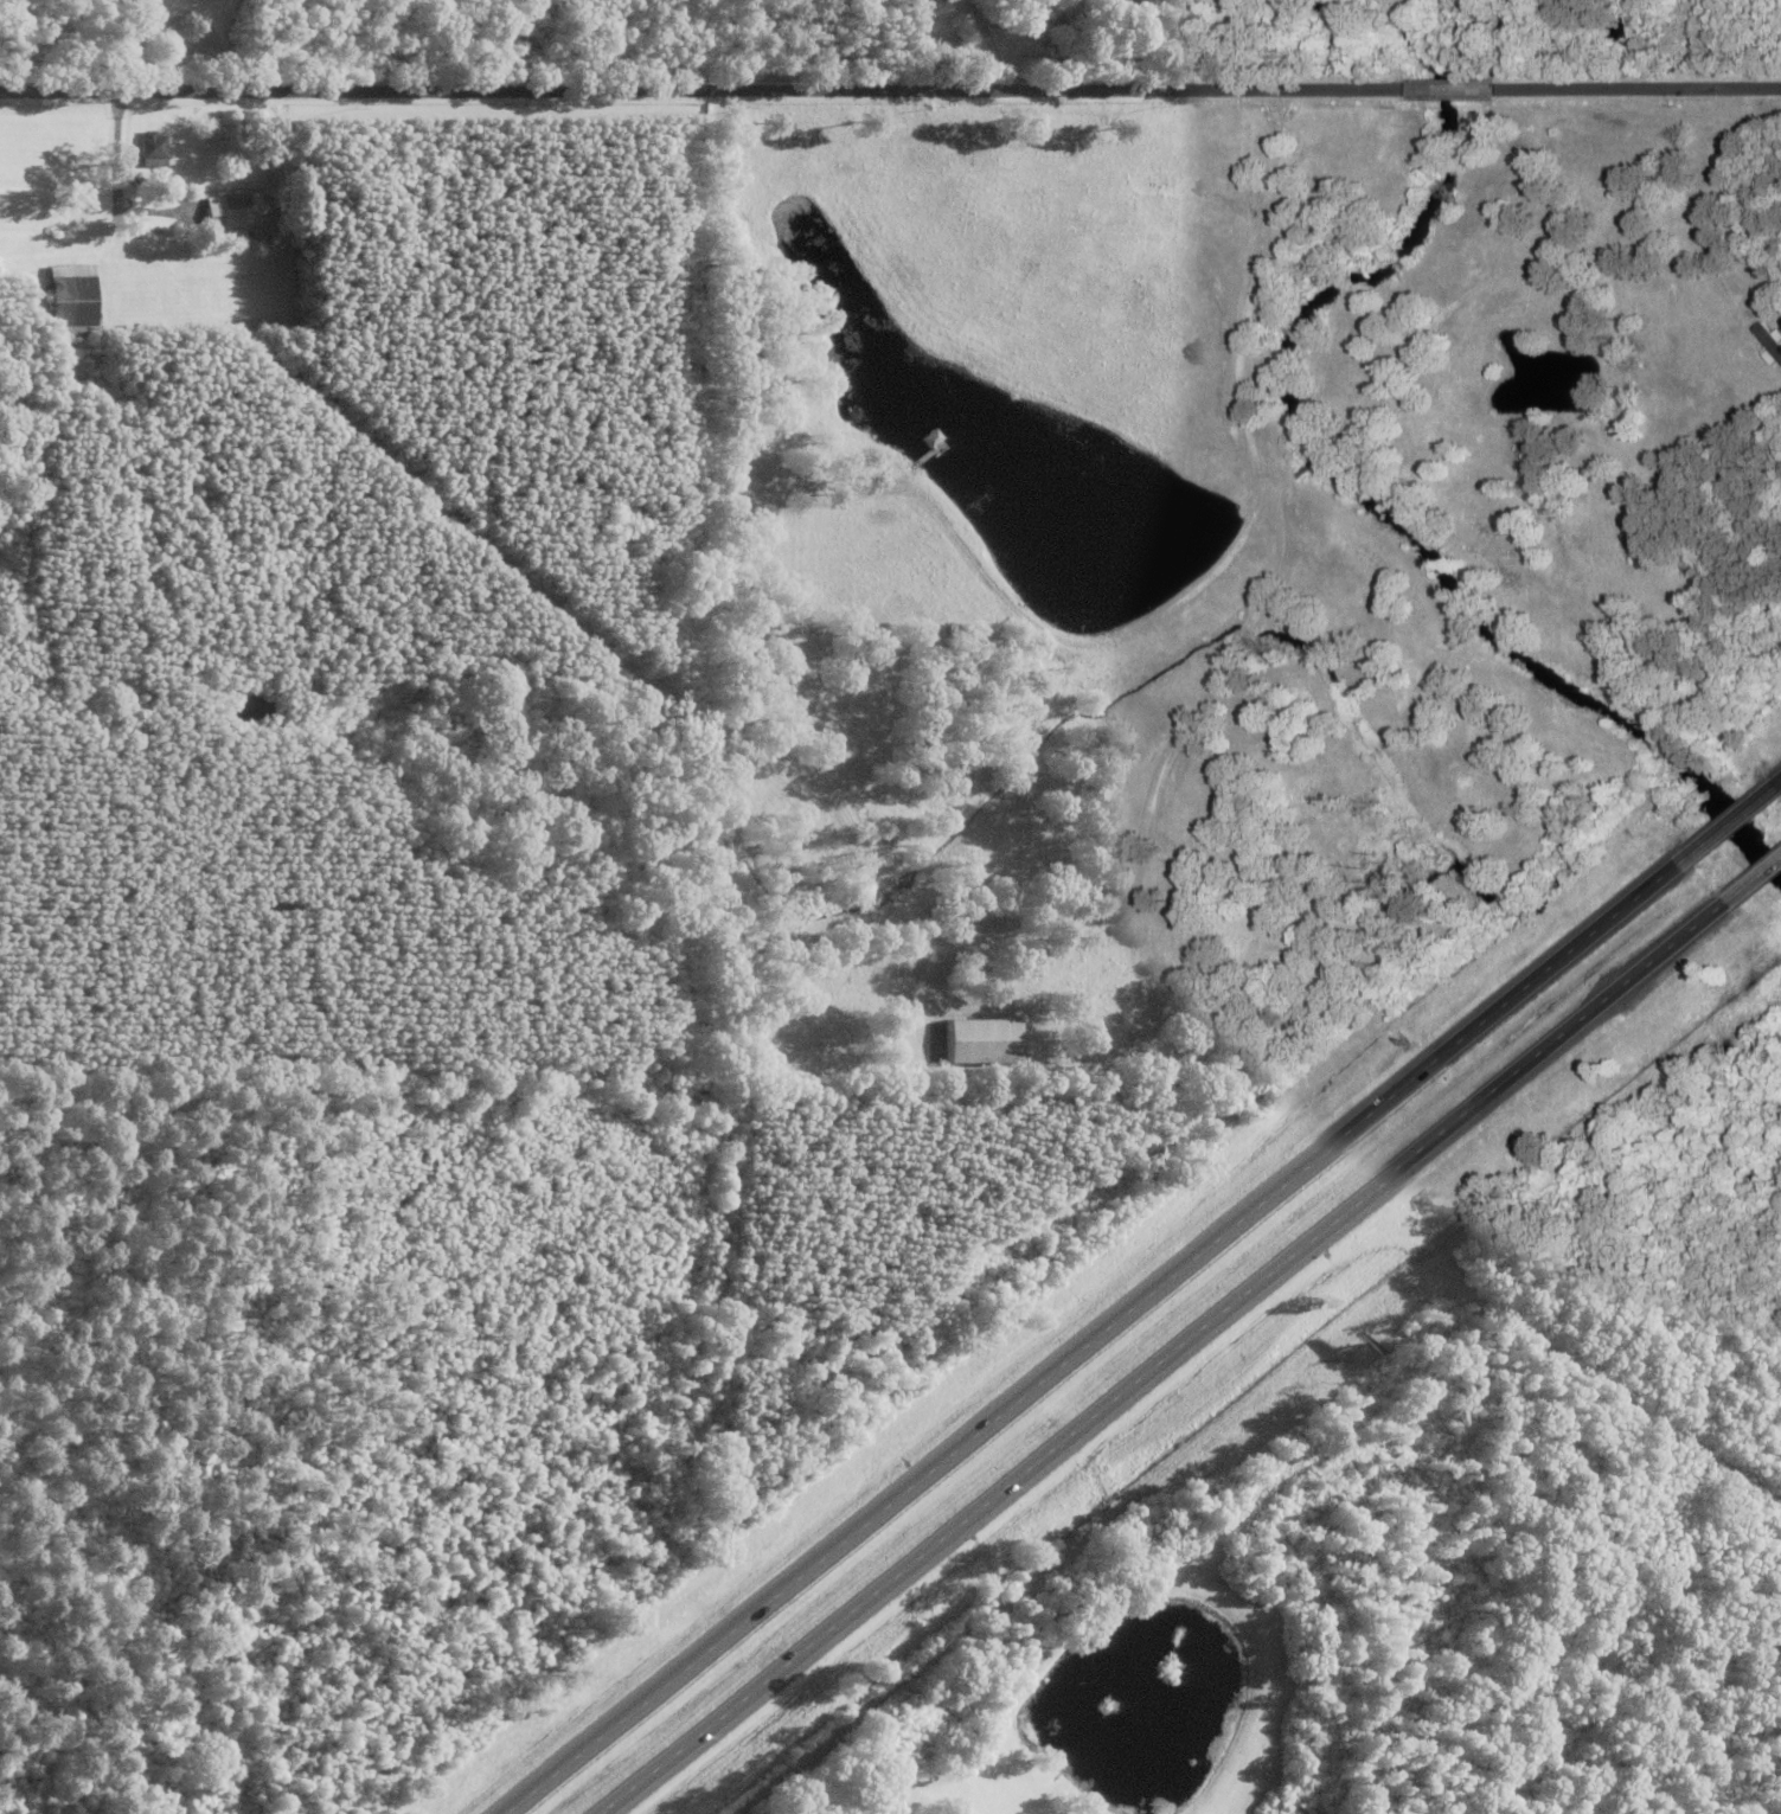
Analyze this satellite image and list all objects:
river: (1299, 2)
building: (1017, 8)
road: (1635, 85)
road: (699, 86)
road: (1444, 86)
building: (152, 149)
building: (231, 212)
building: (68, 302)
building: (1770, 342)
river: (1350, 487)
building: (1639, 547)
road: (1780, 782)
road: (1726, 822)
road: (1751, 876)
building: (979, 1040)
road: (1090, 1338)
road: (1161, 1357)

